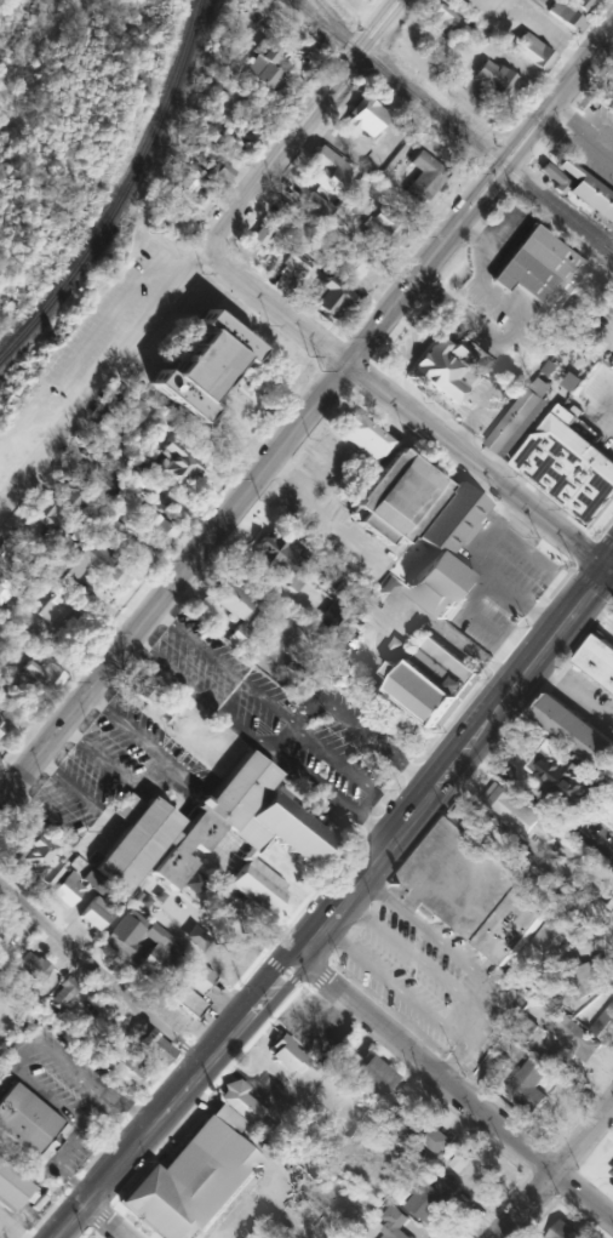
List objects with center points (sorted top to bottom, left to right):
building: (567, 12)
building: (437, 15)
road: (538, 33)
building: (531, 51)
railway: (367, 53)
road: (560, 58)
building: (262, 65)
building: (492, 79)
building: (611, 93)
building: (361, 116)
railway: (451, 125)
road: (580, 130)
building: (326, 170)
building: (222, 171)
building: (422, 176)
building: (194, 192)
railway: (120, 193)
building: (586, 193)
building: (313, 205)
building: (377, 229)
building: (260, 230)
road: (494, 230)
building: (300, 244)
road: (199, 253)
building: (293, 263)
building: (349, 269)
building: (542, 270)
building: (327, 297)
road: (510, 330)
building: (460, 350)
road: (402, 364)
building: (201, 365)
building: (439, 373)
parking lot: (595, 403)
building: (125, 406)
road: (402, 407)
road: (306, 410)
road: (607, 413)
road: (477, 415)
building: (519, 420)
building: (104, 423)
building: (361, 435)
building: (571, 468)
building: (164, 469)
building: (93, 484)
building: (68, 495)
building: (395, 497)
road: (314, 519)
building: (52, 520)
road: (597, 527)
building: (110, 532)
building: (446, 549)
building: (8, 557)
building: (282, 560)
building: (91, 565)
road: (609, 567)
road: (487, 571)
parking lot: (492, 581)
building: (2, 588)
building: (385, 588)
building: (231, 599)
road: (596, 610)
building: (55, 612)
building: (327, 616)
road: (445, 629)
building: (237, 635)
building: (598, 658)
road: (222, 666)
building: (41, 675)
building: (431, 678)
building: (612, 688)
building: (148, 690)
road: (571, 696)
parking lot: (288, 715)
building: (176, 717)
building: (1, 721)
road: (122, 724)
building: (577, 730)
road: (282, 738)
building: (612, 753)
building: (550, 754)
road: (97, 755)
road: (348, 772)
parking lot: (105, 774)
road: (147, 775)
building: (568, 780)
road: (71, 787)
road: (332, 795)
road: (538, 799)
road: (121, 805)
building: (517, 812)
building: (468, 816)
road: (45, 818)
road: (97, 834)
building: (148, 835)
building: (35, 855)
building: (521, 856)
building: (50, 873)
building: (475, 889)
building: (64, 890)
building: (92, 901)
road: (338, 901)
building: (611, 905)
building: (612, 915)
building: (124, 932)
building: (552, 934)
road: (443, 943)
road: (603, 943)
building: (155, 955)
building: (30, 966)
road: (430, 966)
building: (582, 977)
road: (101, 979)
building: (196, 979)
building: (62, 993)
road: (408, 997)
building: (187, 1000)
road: (323, 1008)
building: (605, 1023)
building: (571, 1038)
building: (150, 1044)
building: (285, 1054)
road: (11, 1066)
building: (493, 1066)
building: (121, 1067)
building: (366, 1072)
building: (546, 1083)
building: (528, 1084)
road: (452, 1086)
parking lot: (68, 1096)
building: (239, 1101)
building: (28, 1123)
building: (424, 1129)
building: (459, 1162)
road: (555, 1169)
building: (612, 1169)
building: (191, 1183)
building: (11, 1187)
building: (434, 1197)
road: (101, 1220)
building: (396, 1222)
road: (11, 1228)
building: (566, 1230)

